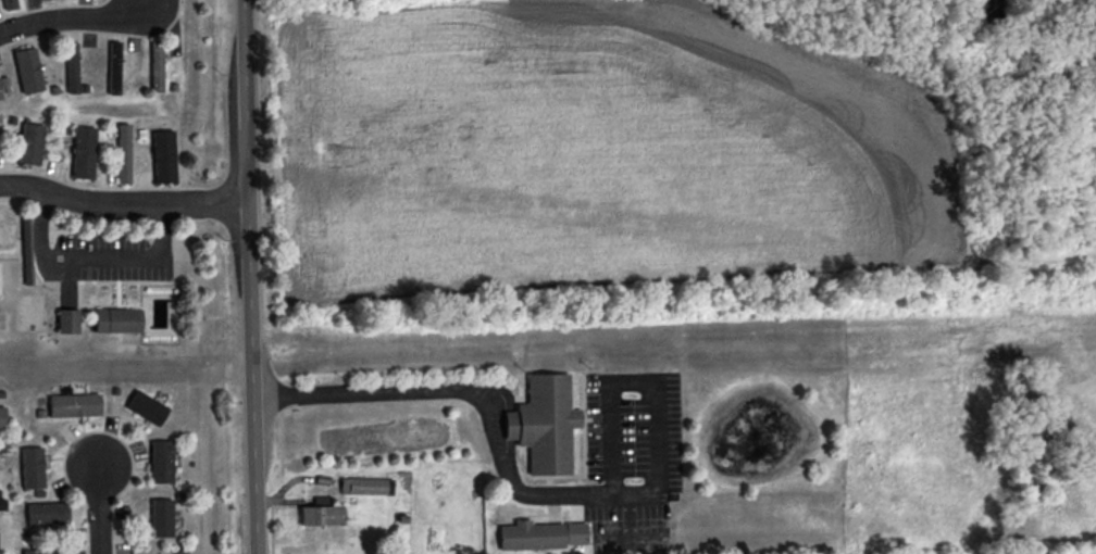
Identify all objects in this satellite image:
building: (10, 3)
road: (72, 24)
building: (157, 65)
building: (114, 66)
building: (72, 67)
building: (28, 70)
building: (0, 93)
building: (30, 143)
building: (84, 152)
building: (123, 152)
building: (163, 155)
crop: (600, 164)
road: (123, 207)
road: (94, 259)
road: (249, 277)
building: (117, 319)
building: (67, 320)
road: (631, 382)
road: (484, 396)
building: (75, 404)
building: (147, 407)
building: (2, 416)
building: (545, 423)
building: (161, 461)
building: (33, 467)
building: (366, 486)
building: (2, 504)
road: (99, 512)
building: (47, 513)
building: (321, 513)
building: (161, 517)
building: (575, 532)
building: (531, 534)

